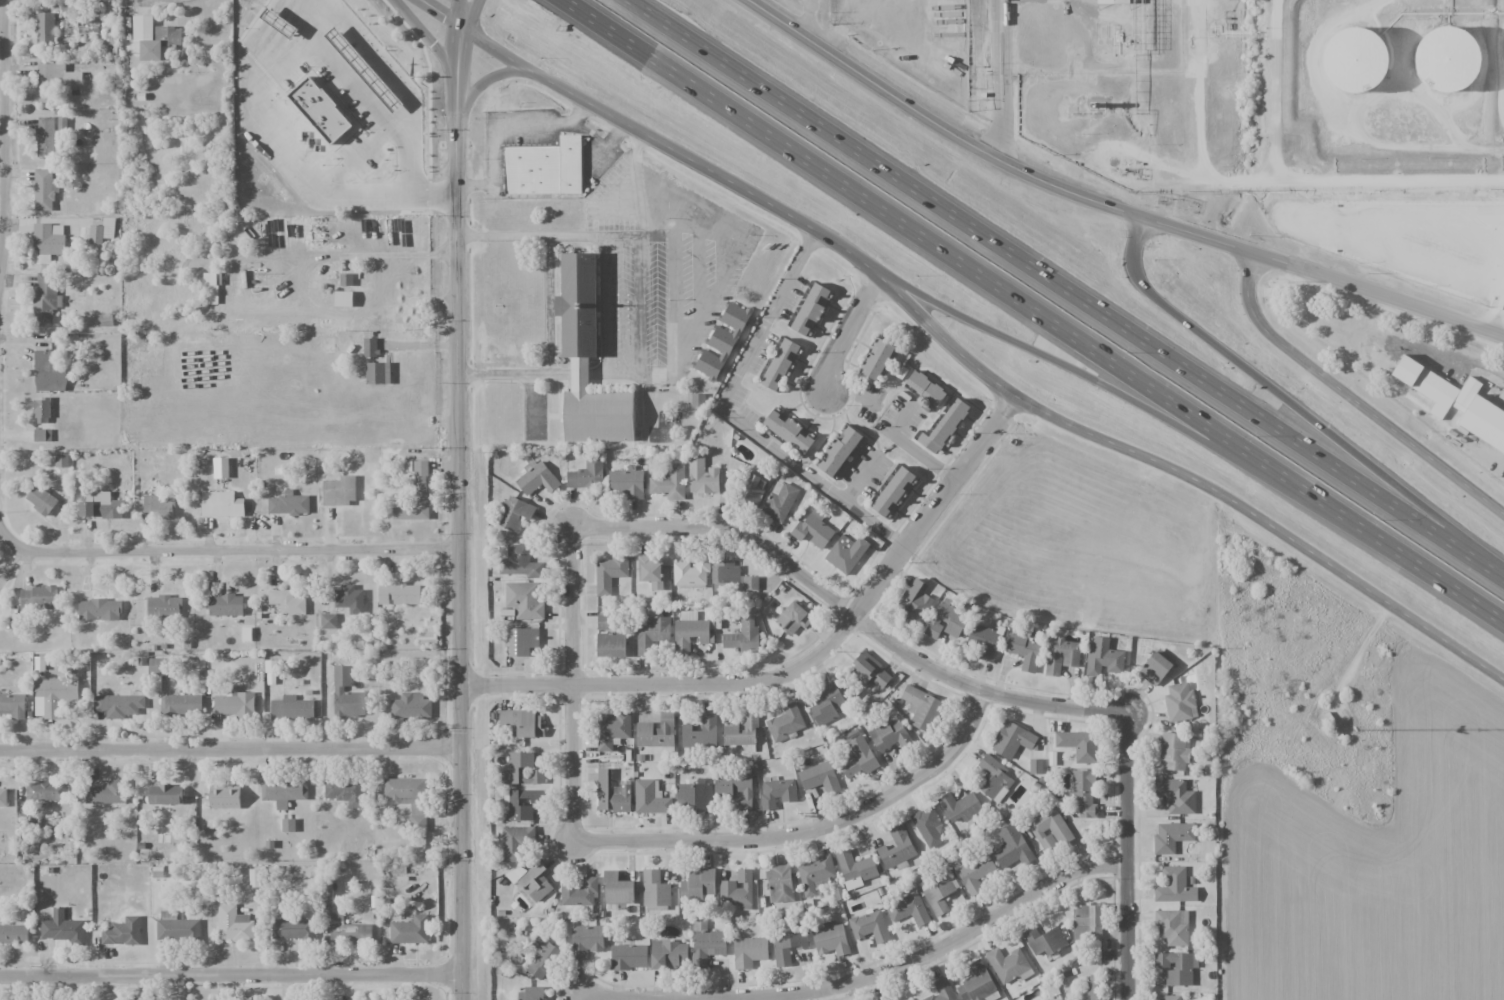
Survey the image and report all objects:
building: (1117, 5)
building: (327, 13)
gas station: (327, 13)
road: (441, 15)
building: (249, 21)
building: (44, 28)
building: (152, 37)
road: (431, 37)
road: (0, 50)
building: (1464, 69)
storage tank: (1464, 69)
building: (353, 70)
building: (1373, 70)
storage tank: (1373, 70)
road: (482, 79)
building: (54, 81)
road: (937, 123)
building: (50, 136)
building: (545, 168)
road: (1299, 178)
building: (44, 189)
building: (407, 192)
road: (750, 195)
building: (101, 231)
road: (1199, 239)
building: (48, 241)
building: (345, 279)
road: (1063, 292)
building: (45, 295)
road: (1381, 298)
building: (343, 299)
building: (811, 309)
road: (1033, 309)
road: (844, 332)
building: (721, 343)
road: (1049, 356)
building: (876, 359)
building: (587, 360)
building: (779, 364)
building: (49, 370)
building: (377, 373)
building: (925, 388)
road: (1354, 398)
building: (698, 400)
road: (1295, 409)
building: (41, 411)
building: (1488, 425)
building: (944, 427)
building: (789, 431)
building: (42, 435)
building: (839, 451)
building: (61, 460)
building: (220, 468)
building: (587, 475)
building: (702, 476)
building: (536, 479)
building: (625, 483)
building: (669, 483)
building: (339, 491)
building: (751, 492)
building: (894, 492)
building: (416, 495)
road: (458, 499)
building: (41, 500)
building: (87, 503)
building: (779, 503)
building: (110, 504)
building: (221, 504)
building: (288, 504)
building: (159, 506)
building: (514, 513)
road: (1267, 522)
building: (813, 529)
road: (225, 550)
building: (846, 553)
building: (519, 562)
building: (650, 571)
building: (690, 572)
building: (609, 574)
building: (733, 576)
building: (398, 594)
building: (38, 598)
building: (350, 599)
building: (524, 600)
building: (915, 601)
building: (287, 602)
building: (225, 605)
building: (163, 607)
building: (99, 609)
road: (847, 614)
building: (793, 618)
building: (328, 621)
building: (946, 621)
building: (604, 622)
road: (842, 630)
building: (690, 632)
building: (651, 633)
building: (428, 634)
building: (743, 637)
building: (521, 641)
building: (984, 642)
building: (611, 645)
building: (1024, 651)
building: (1062, 656)
building: (1102, 658)
building: (865, 665)
building: (158, 666)
building: (1155, 668)
building: (881, 679)
road: (573, 688)
road: (517, 689)
building: (55, 694)
building: (347, 695)
building: (1180, 703)
building: (181, 704)
building: (13, 705)
building: (118, 705)
building: (825, 705)
building: (236, 706)
building: (411, 706)
building: (292, 708)
building: (922, 708)
building: (522, 722)
building: (785, 723)
building: (612, 731)
building: (741, 731)
building: (657, 733)
building: (700, 733)
building: (890, 735)
building: (1012, 740)
building: (1079, 745)
road: (231, 748)
building: (1174, 751)
building: (857, 755)
building: (522, 770)
building: (819, 778)
building: (993, 779)
building: (736, 788)
building: (46, 791)
building: (283, 791)
building: (345, 792)
building: (107, 793)
building: (777, 793)
building: (165, 794)
building: (1083, 794)
building: (695, 795)
building: (1175, 796)
building: (3, 797)
building: (224, 797)
building: (408, 798)
building: (650, 798)
building: (511, 804)
building: (960, 807)
building: (288, 825)
building: (928, 827)
building: (1049, 829)
road: (813, 830)
building: (1172, 836)
building: (516, 842)
building: (1011, 847)
building: (897, 848)
road: (1130, 857)
crop: (1377, 860)
building: (855, 869)
building: (975, 872)
building: (815, 874)
building: (531, 881)
building: (780, 883)
building: (697, 885)
building: (1175, 886)
building: (617, 889)
building: (654, 889)
building: (737, 890)
building: (579, 892)
building: (940, 894)
building: (908, 910)
building: (1087, 923)
building: (233, 924)
building: (869, 926)
building: (176, 927)
building: (1172, 927)
building: (63, 928)
building: (295, 929)
building: (348, 930)
building: (410, 930)
building: (122, 932)
building: (14, 933)
building: (831, 939)
building: (586, 941)
building: (1044, 941)
building: (706, 944)
building: (787, 944)
building: (749, 951)
building: (668, 954)
building: (628, 957)
building: (542, 958)
building: (1009, 965)
building: (1177, 967)
road: (231, 975)
road: (867, 977)
building: (977, 984)
building: (1095, 987)
building: (942, 990)
building: (529, 994)
building: (1168, 997)
road: (580, 998)
building: (908, 999)
building: (1051, 999)

